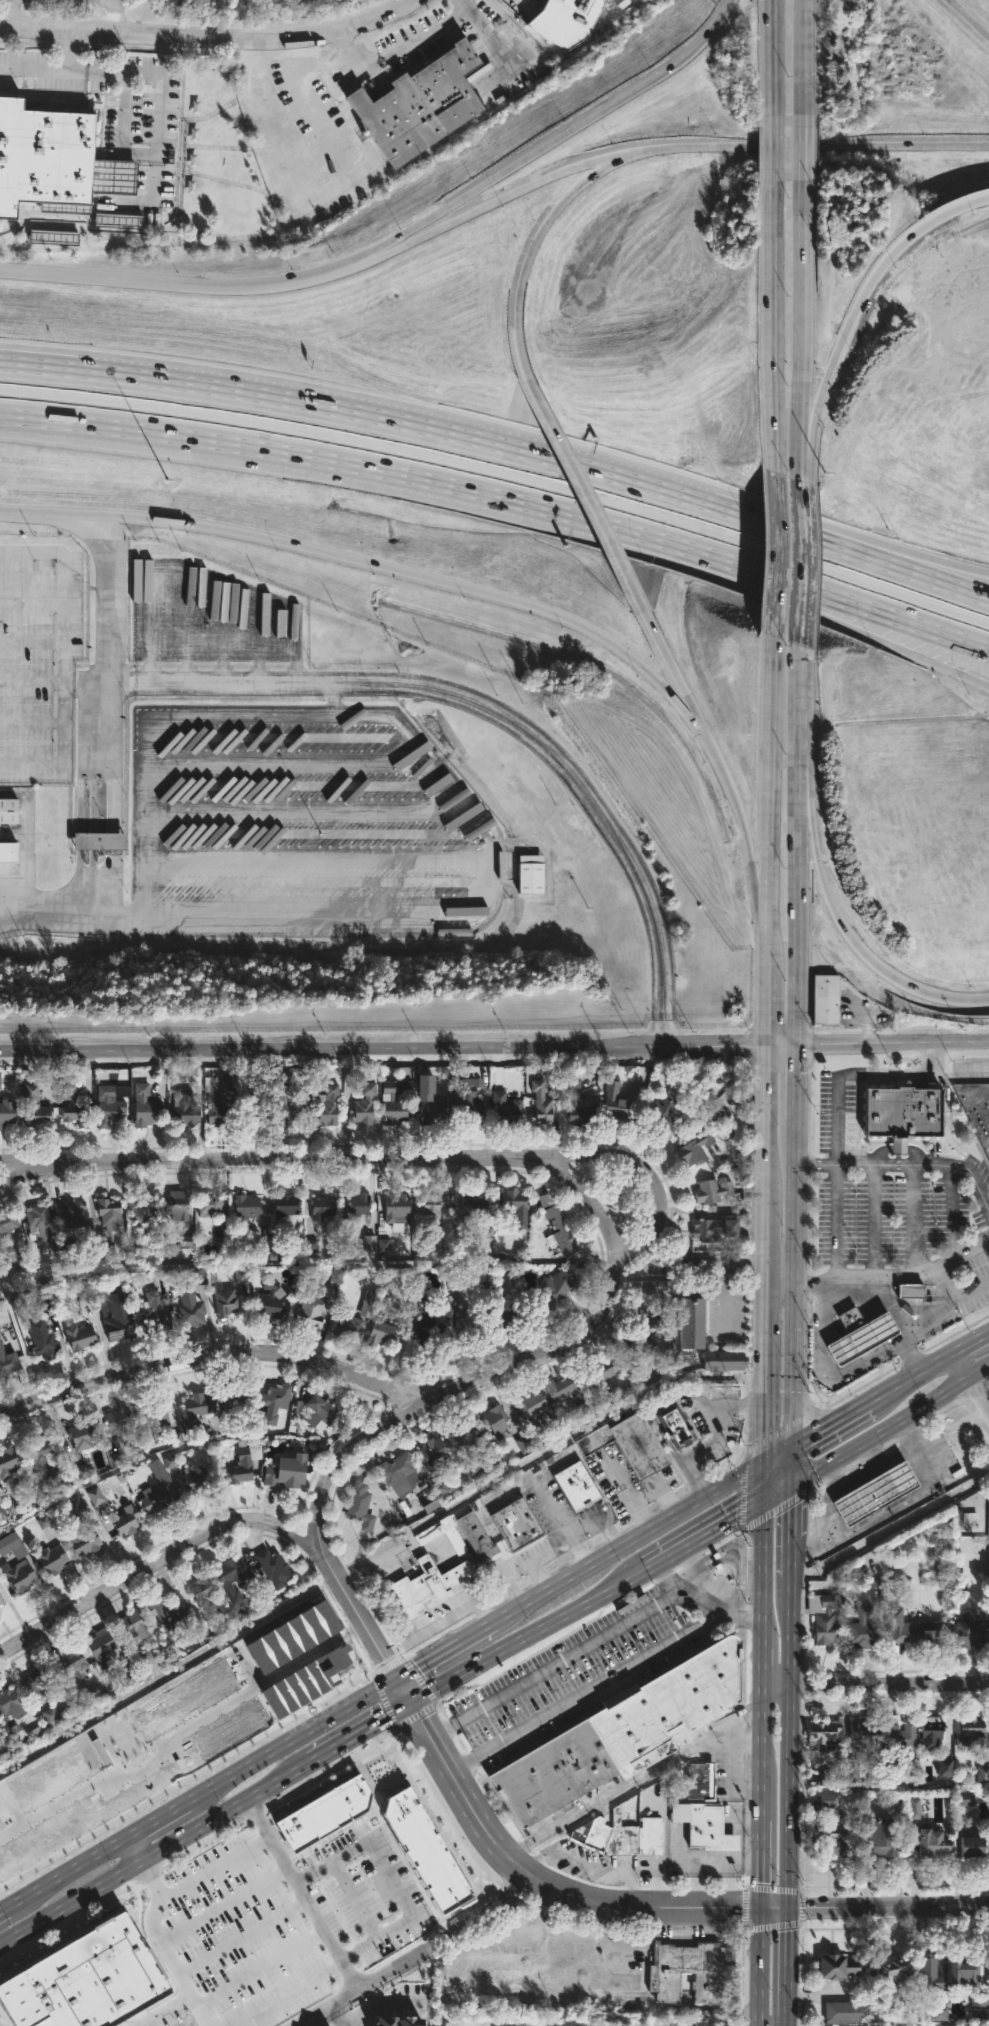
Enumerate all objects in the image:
building: (577, 5)
road: (12, 13)
road: (112, 16)
road: (963, 23)
road: (209, 36)
road: (401, 44)
road: (66, 51)
road: (797, 52)
road: (773, 54)
road: (116, 73)
building: (418, 103)
road: (796, 140)
road: (547, 142)
road: (772, 142)
road: (806, 145)
building: (41, 155)
road: (512, 193)
road: (377, 254)
road: (525, 258)
road: (881, 263)
road: (175, 283)
road: (797, 308)
road: (771, 326)
building: (25, 392)
road: (326, 406)
road: (812, 409)
road: (262, 449)
road: (799, 456)
road: (502, 473)
road: (683, 486)
road: (585, 497)
road: (44, 511)
road: (561, 521)
road: (853, 532)
road: (817, 541)
road: (772, 547)
road: (799, 552)
road: (757, 569)
road: (414, 575)
road: (796, 607)
road: (111, 620)
road: (651, 630)
road: (31, 641)
road: (62, 657)
road: (31, 682)
road: (684, 696)
road: (477, 705)
road: (798, 715)
road: (90, 758)
road: (448, 776)
road: (117, 788)
road: (773, 793)
building: (9, 812)
road: (808, 831)
road: (80, 843)
building: (98, 843)
road: (116, 843)
building: (9, 854)
road: (751, 854)
building: (533, 875)
road: (109, 882)
road: (93, 911)
road: (14, 916)
road: (797, 921)
road: (877, 965)
building: (826, 998)
road: (772, 1006)
road: (865, 1019)
road: (654, 1023)
road: (670, 1023)
road: (892, 1043)
road: (783, 1044)
road: (385, 1049)
road: (852, 1074)
road: (795, 1081)
building: (396, 1100)
building: (287, 1101)
building: (470, 1101)
building: (217, 1102)
building: (430, 1103)
building: (542, 1103)
building: (328, 1104)
building: (365, 1104)
building: (615, 1105)
building: (146, 1106)
building: (34, 1107)
building: (74, 1107)
building: (107, 1107)
building: (977, 1107)
building: (7, 1109)
building: (187, 1109)
building: (505, 1109)
building: (579, 1109)
building: (662, 1112)
building: (906, 1112)
road: (947, 1118)
road: (769, 1119)
building: (696, 1148)
road: (382, 1159)
road: (26, 1161)
road: (905, 1163)
building: (713, 1191)
road: (587, 1196)
building: (511, 1198)
building: (177, 1204)
building: (211, 1204)
building: (476, 1204)
building: (358, 1206)
building: (287, 1207)
building: (324, 1207)
building: (433, 1208)
building: (144, 1209)
building: (398, 1210)
building: (247, 1211)
building: (110, 1212)
building: (74, 1213)
road: (835, 1220)
building: (37, 1222)
building: (7, 1223)
building: (716, 1229)
building: (560, 1232)
road: (768, 1249)
building: (19, 1253)
road: (726, 1261)
road: (306, 1265)
road: (893, 1274)
road: (793, 1282)
building: (558, 1287)
building: (912, 1290)
road: (725, 1298)
building: (226, 1301)
building: (271, 1301)
building: (369, 1303)
building: (191, 1308)
building: (312, 1310)
building: (511, 1313)
building: (156, 1314)
building: (659, 1316)
building: (120, 1318)
road: (928, 1319)
building: (694, 1322)
building: (467, 1323)
building: (429, 1324)
building: (350, 1328)
building: (384, 1328)
building: (863, 1336)
building: (81, 1337)
building: (43, 1339)
road: (766, 1339)
building: (648, 1340)
road: (972, 1341)
building: (726, 1359)
road: (215, 1360)
building: (8, 1362)
road: (831, 1370)
building: (605, 1372)
road: (911, 1375)
road: (971, 1382)
road: (986, 1387)
building: (566, 1388)
road: (455, 1390)
road: (974, 1393)
building: (237, 1398)
building: (276, 1400)
building: (539, 1407)
building: (199, 1409)
building: (320, 1410)
road: (765, 1418)
building: (120, 1420)
building: (497, 1420)
building: (159, 1422)
road: (830, 1424)
road: (890, 1425)
building: (678, 1426)
road: (780, 1428)
building: (466, 1433)
building: (84, 1436)
road: (711, 1440)
building: (631, 1443)
road: (887, 1443)
traffic signals: (792, 1447)
road: (813, 1447)
road: (542, 1450)
building: (435, 1451)
building: (44, 1454)
road: (778, 1456)
building: (9, 1462)
road: (792, 1464)
building: (241, 1465)
traffic signals: (765, 1465)
building: (286, 1472)
building: (398, 1475)
building: (197, 1478)
road: (765, 1481)
road: (624, 1482)
traffic signals: (793, 1482)
building: (579, 1486)
road: (779, 1489)
road: (741, 1492)
building: (877, 1494)
road: (645, 1496)
traffic signals: (765, 1497)
building: (156, 1500)
building: (363, 1502)
road: (774, 1510)
road: (791, 1510)
road: (879, 1515)
building: (126, 1521)
building: (518, 1524)
road: (291, 1531)
road: (706, 1531)
building: (476, 1533)
road: (809, 1539)
building: (83, 1541)
road: (630, 1542)
building: (13, 1545)
road: (789, 1558)
building: (52, 1559)
road: (763, 1567)
building: (273, 1568)
road: (696, 1568)
building: (435, 1570)
building: (20, 1576)
road: (128, 1576)
building: (229, 1580)
building: (201, 1589)
road: (683, 1590)
building: (1, 1601)
road: (353, 1609)
building: (169, 1619)
building: (824, 1619)
building: (135, 1626)
building: (864, 1629)
road: (789, 1631)
building: (920, 1633)
building: (971, 1634)
road: (529, 1635)
building: (102, 1647)
road: (445, 1648)
road: (762, 1662)
road: (555, 1663)
building: (71, 1664)
road: (166, 1675)
traffic signals: (395, 1677)
building: (41, 1683)
road: (602, 1683)
road: (889, 1685)
road: (775, 1686)
road: (402, 1691)
building: (11, 1703)
traffic signals: (410, 1705)
road: (735, 1729)
building: (970, 1731)
building: (628, 1733)
building: (823, 1733)
road: (361, 1734)
building: (933, 1734)
road: (294, 1737)
building: (867, 1737)
building: (901, 1740)
road: (762, 1753)
road: (735, 1761)
road: (634, 1781)
building: (702, 1781)
road: (788, 1798)
road: (162, 1815)
building: (329, 1818)
building: (705, 1825)
building: (882, 1834)
building: (621, 1836)
building: (929, 1838)
building: (837, 1843)
building: (974, 1845)
road: (138, 1848)
building: (429, 1854)
road: (156, 1855)
road: (752, 1865)
road: (764, 1865)
road: (214, 1867)
road: (732, 1868)
road: (70, 1870)
road: (394, 1880)
road: (542, 1884)
road: (727, 1888)
road: (307, 1896)
road: (356, 1900)
road: (224, 1903)
road: (5, 1909)
traffic signals: (765, 1910)
road: (776, 1910)
road: (888, 1910)
traffic signals: (788, 1911)
road: (243, 1935)
road: (604, 1941)
road: (163, 1947)
road: (425, 1960)
building: (839, 1964)
road: (788, 1966)
road: (262, 1967)
road: (763, 1967)
building: (964, 1968)
building: (899, 1969)
building: (692, 1970)
building: (931, 1972)
building: (91, 1983)
road: (288, 1993)
road: (650, 2005)
road: (164, 2010)
building: (849, 2010)
road: (342, 2018)
park: (555, 2020)
road: (775, 2022)
road: (789, 2024)

